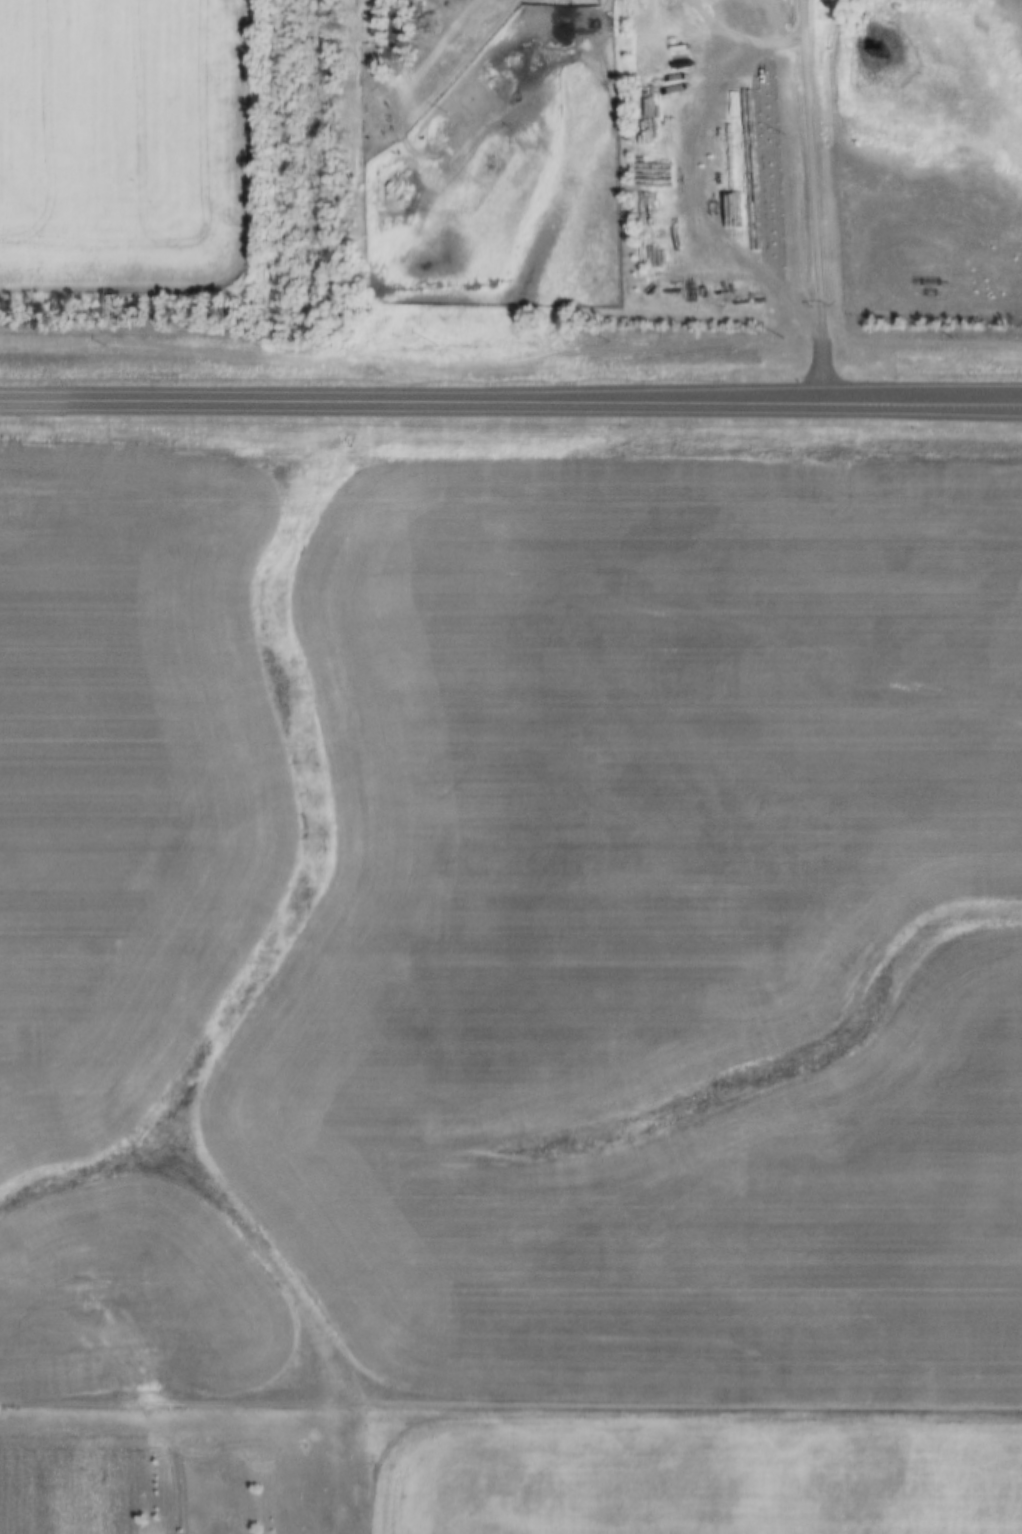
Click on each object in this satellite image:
road: (444, 16)
building: (389, 30)
road: (740, 38)
road: (813, 202)
road: (510, 404)

